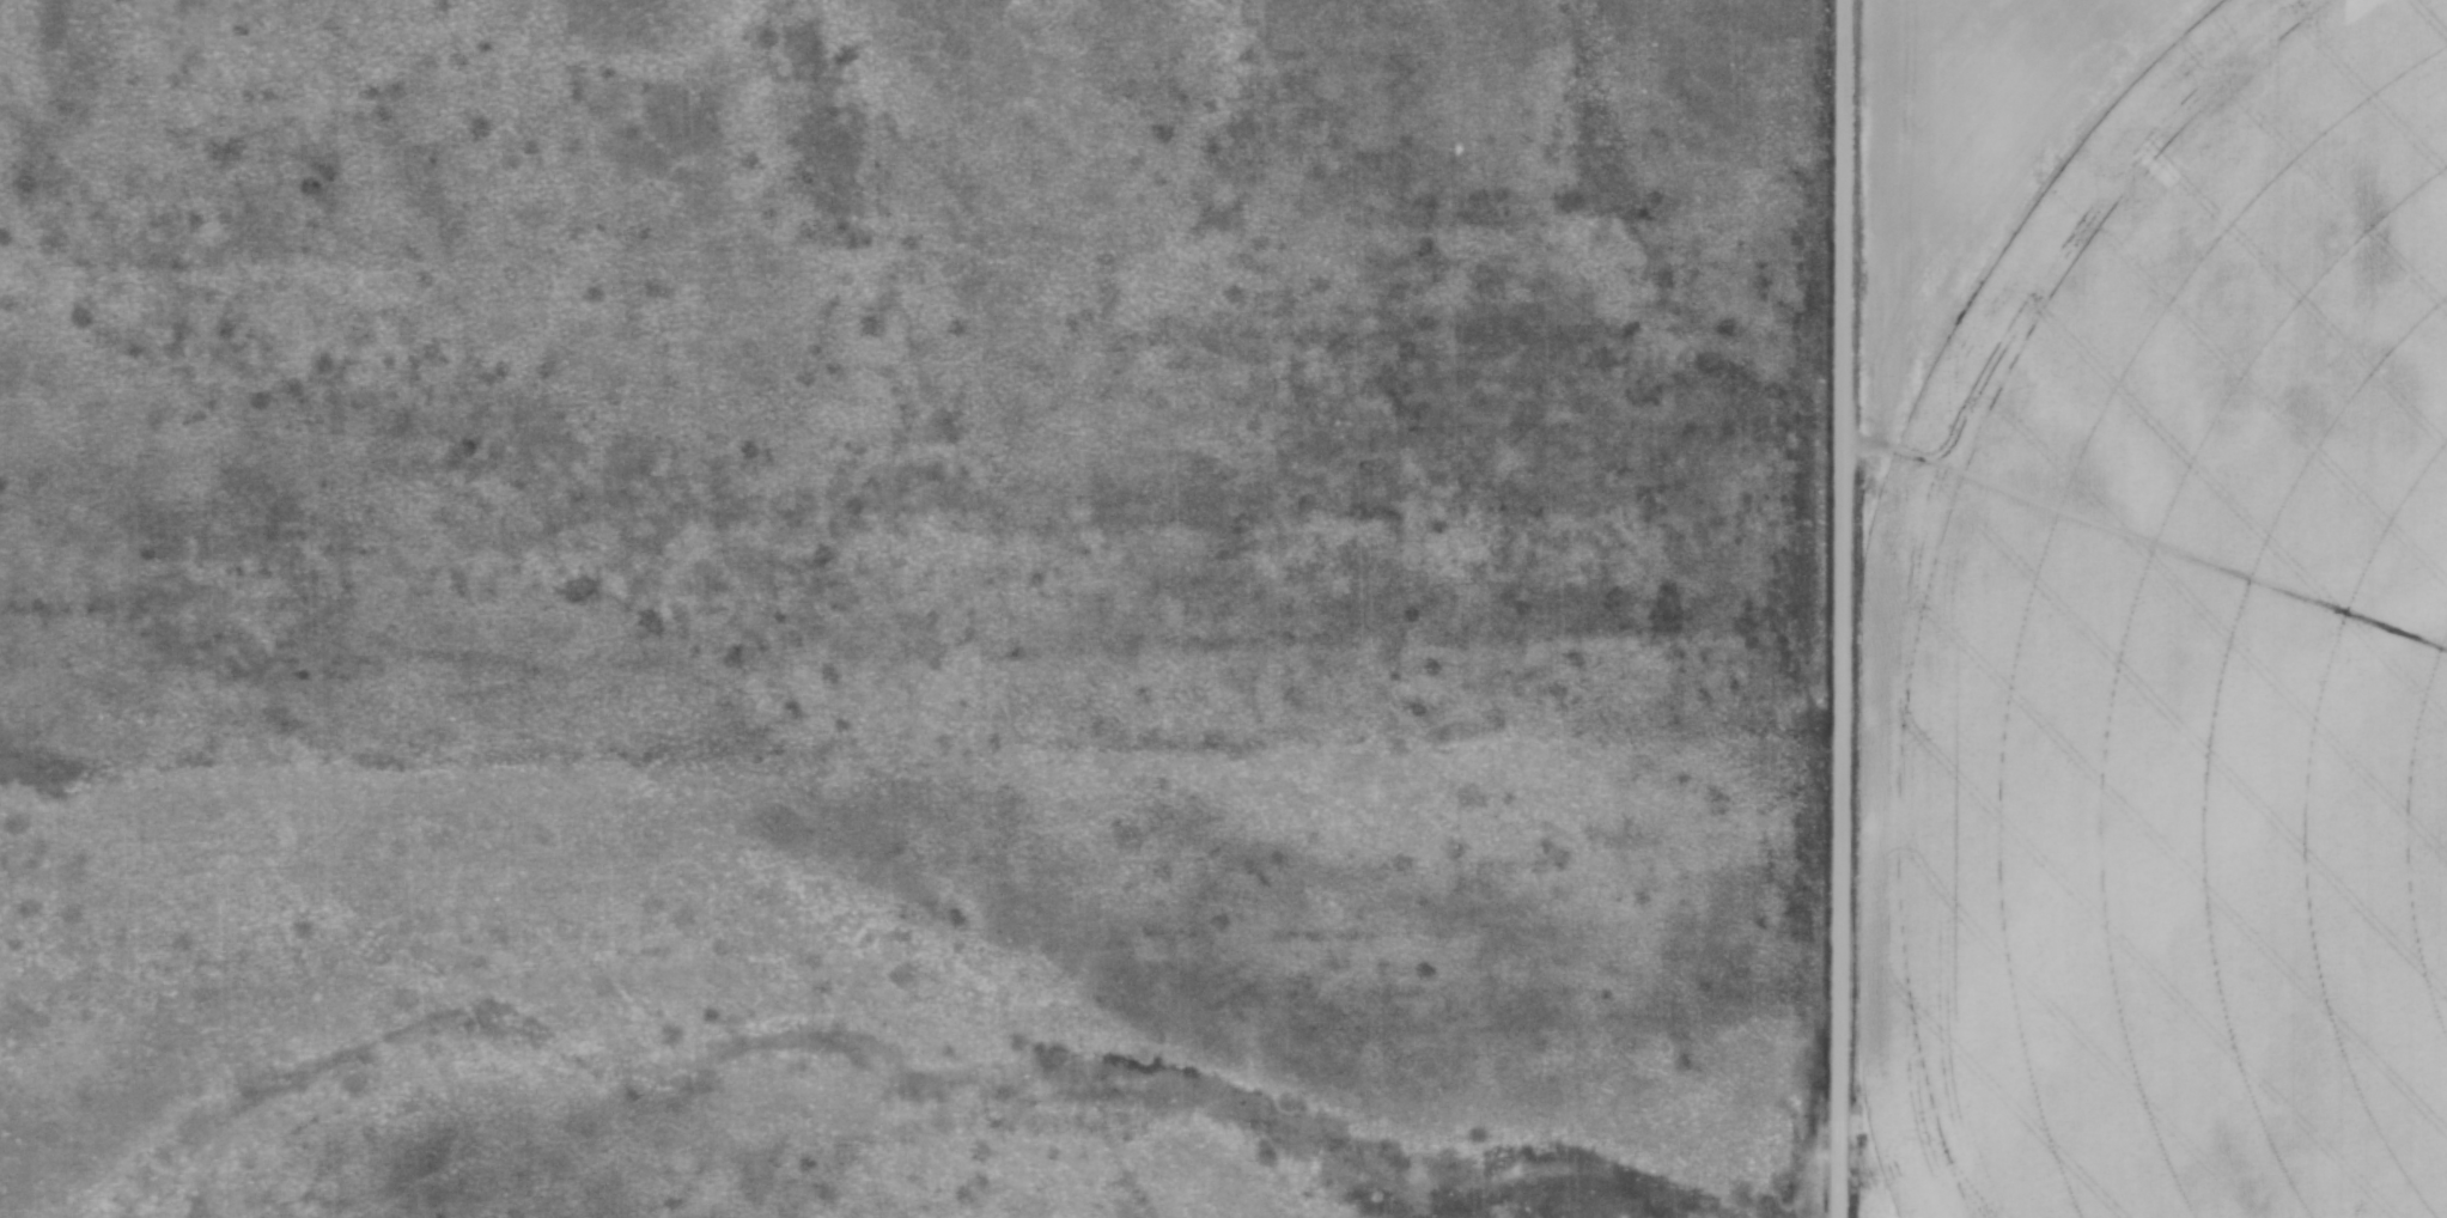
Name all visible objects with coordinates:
road: (1843, 609)

